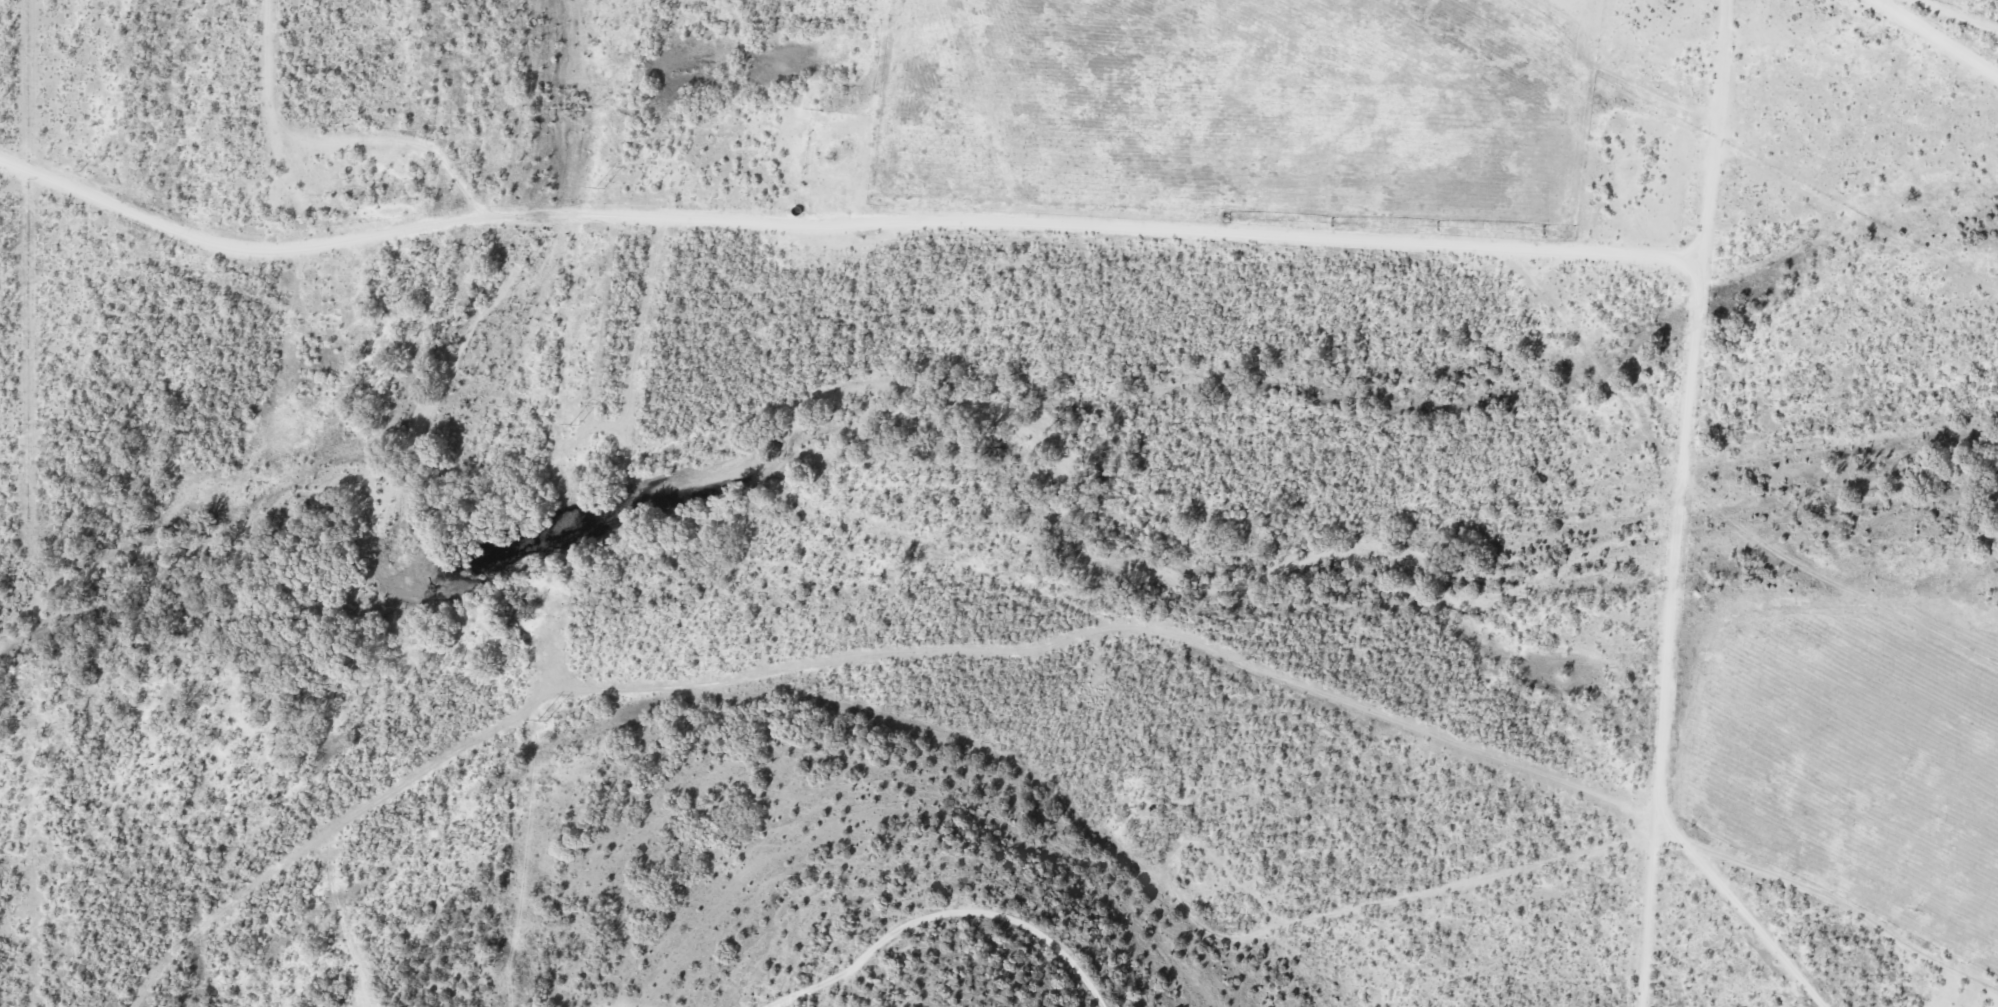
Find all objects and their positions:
road: (1954, 16)
road: (1935, 29)
power tower: (602, 187)
road: (1263, 203)
power tower: (576, 425)
river: (427, 444)
road: (1679, 502)
power tower: (544, 720)

